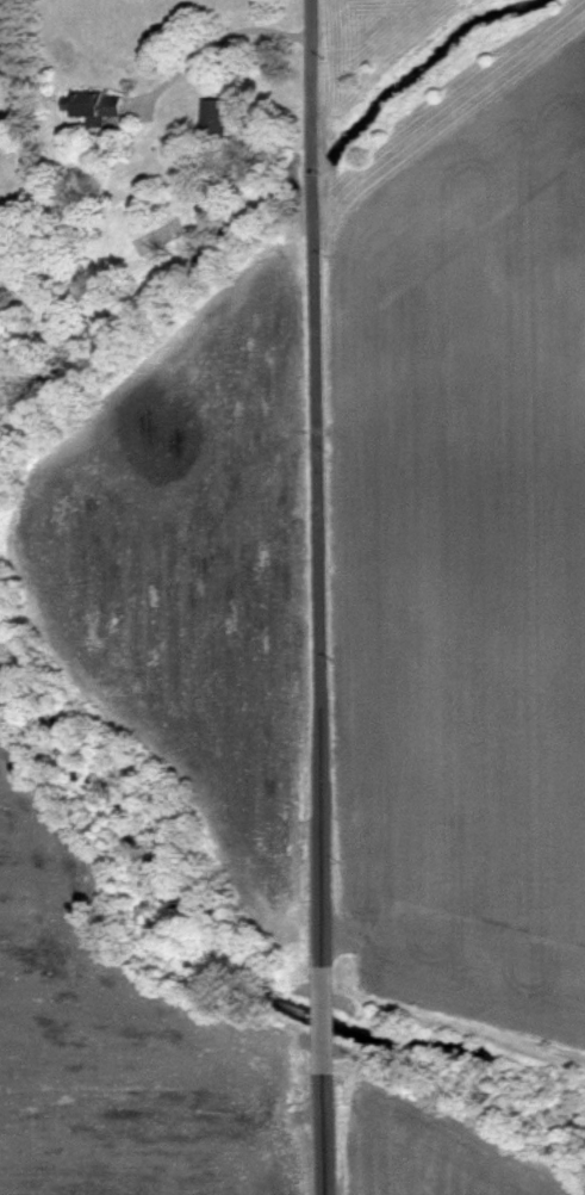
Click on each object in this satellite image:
road: (222, 37)
building: (95, 104)
building: (214, 113)
road: (317, 496)
road: (323, 1017)
road: (324, 1117)

